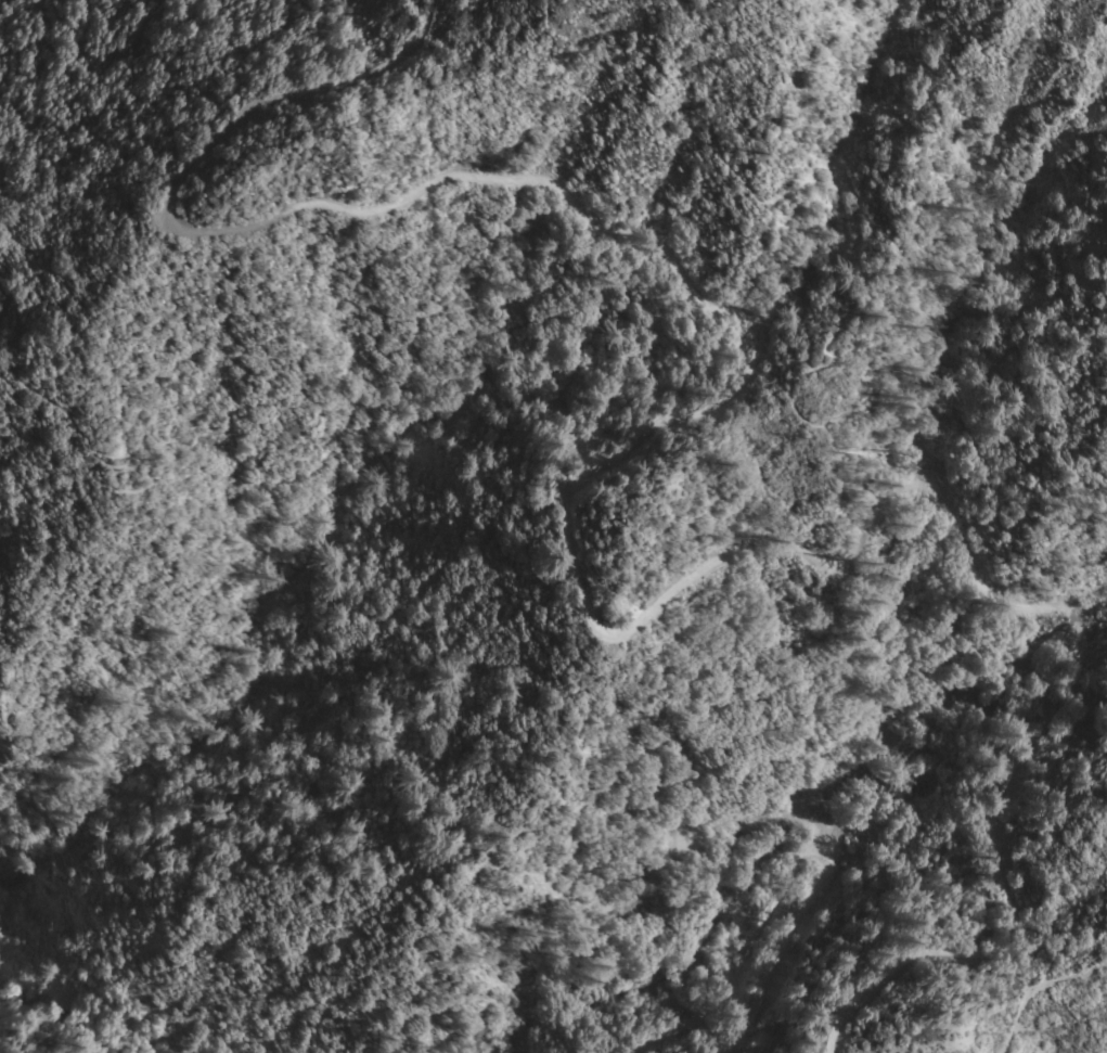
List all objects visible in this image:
road: (52, 76)
road: (309, 204)
road: (838, 319)
road: (309, 323)
road: (720, 569)
road: (1083, 702)
road: (1083, 755)
road: (912, 768)
road: (831, 869)
road: (1065, 899)
road: (1021, 907)
road: (1013, 974)
road: (1037, 988)
road: (681, 1031)

